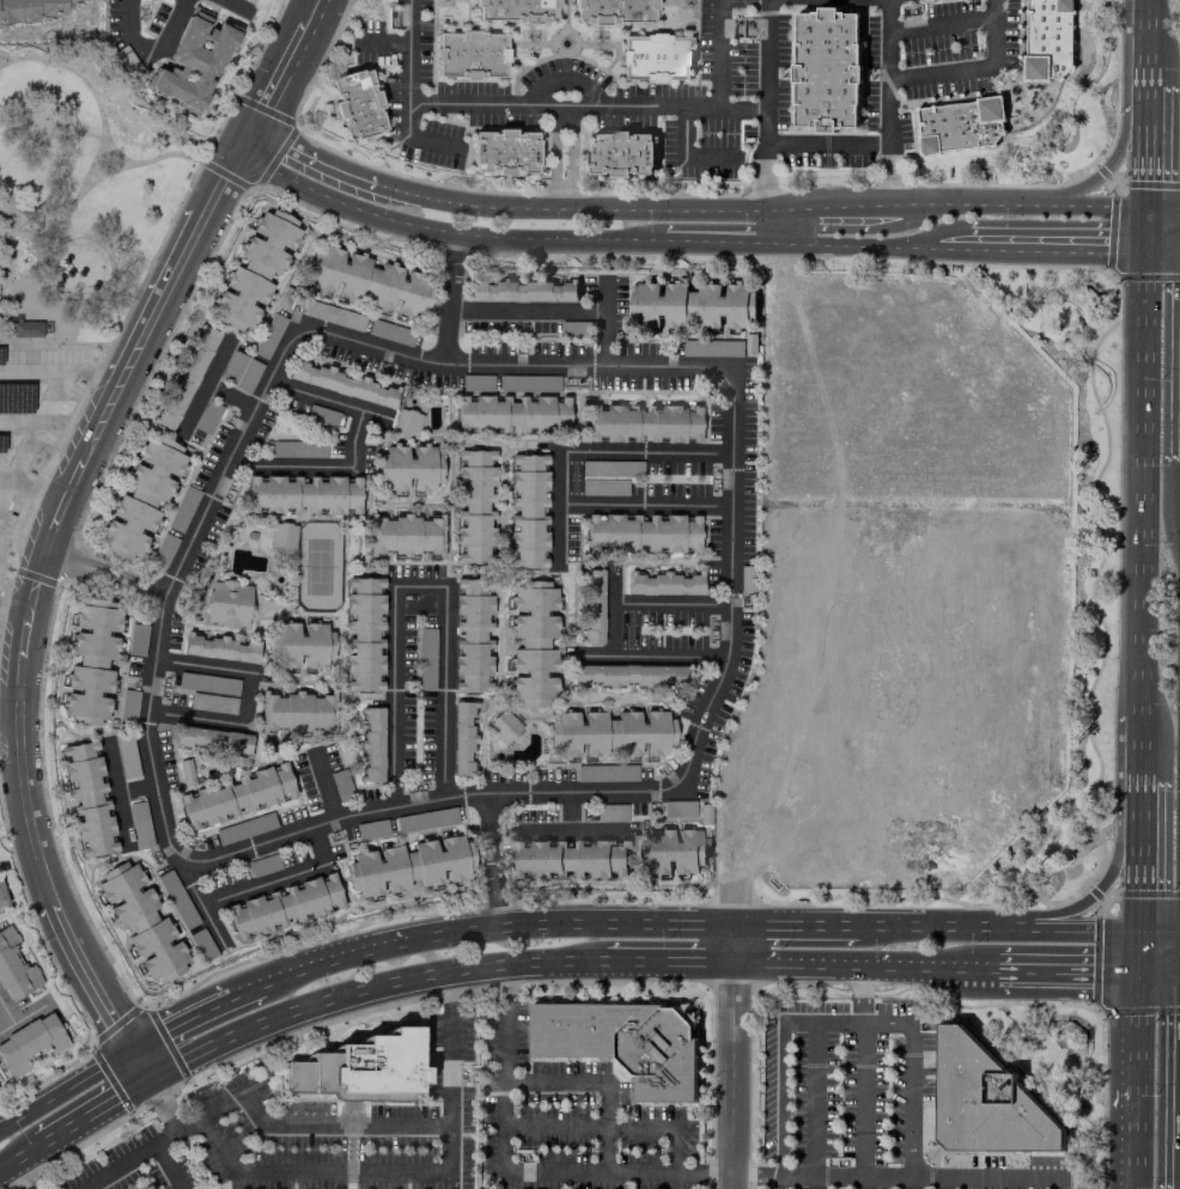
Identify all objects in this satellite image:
building: (250, 1)
road: (238, 7)
building: (31, 8)
building: (515, 10)
building: (613, 12)
road: (1149, 12)
road: (941, 25)
building: (1050, 38)
fountain: (564, 43)
road: (718, 53)
building: (470, 55)
road: (1148, 56)
building: (655, 59)
road: (13, 60)
building: (191, 61)
road: (157, 66)
building: (826, 71)
road: (973, 72)
fountain: (1014, 90)
road: (1146, 100)
building: (358, 104)
road: (433, 104)
road: (610, 105)
road: (888, 105)
road: (764, 110)
building: (960, 126)
road: (75, 133)
road: (826, 145)
road: (112, 151)
building: (504, 152)
building: (620, 152)
road: (1146, 161)
road: (91, 163)
road: (311, 164)
road: (1101, 177)
traffic signals: (1148, 179)
park: (80, 193)
road: (223, 193)
road: (1024, 209)
road: (577, 211)
road: (68, 212)
road: (1163, 212)
road: (843, 213)
building: (28, 218)
road: (785, 231)
road: (444, 234)
road: (1146, 234)
road: (723, 249)
road: (877, 251)
road: (1057, 255)
traffic signals: (1108, 256)
road: (1162, 257)
building: (254, 270)
road: (450, 272)
building: (366, 281)
road: (107, 283)
building: (522, 291)
building: (659, 304)
building: (722, 307)
road: (553, 311)
building: (333, 315)
building: (31, 330)
building: (387, 331)
building: (268, 335)
road: (80, 344)
building: (713, 348)
road: (62, 368)
road: (651, 368)
building: (239, 371)
building: (184, 377)
building: (341, 384)
building: (510, 414)
building: (321, 415)
building: (207, 416)
building: (406, 423)
building: (641, 423)
road: (93, 444)
road: (238, 449)
building: (294, 449)
road: (352, 450)
road: (586, 450)
building: (407, 468)
building: (610, 468)
road: (32, 486)
road: (1141, 487)
building: (303, 494)
building: (141, 498)
road: (643, 505)
building: (474, 506)
building: (182, 508)
building: (527, 510)
building: (643, 532)
building: (403, 535)
building: (281, 536)
building: (163, 549)
park: (318, 567)
building: (746, 578)
road: (104, 579)
building: (663, 583)
road: (412, 584)
building: (226, 603)
building: (590, 605)
road: (14, 610)
road: (31, 611)
road: (610, 627)
building: (364, 634)
building: (470, 635)
building: (533, 644)
building: (298, 645)
building: (219, 648)
building: (426, 658)
building: (91, 661)
building: (626, 675)
building: (207, 683)
road: (245, 696)
building: (212, 703)
building: (128, 705)
building: (296, 711)
road: (10, 719)
building: (503, 726)
building: (609, 733)
building: (461, 738)
building: (212, 740)
building: (371, 744)
road: (1135, 748)
building: (127, 758)
road: (687, 766)
building: (606, 772)
building: (340, 782)
road: (324, 786)
road: (134, 787)
road: (116, 793)
building: (236, 795)
building: (87, 798)
building: (677, 809)
road: (1133, 811)
building: (610, 812)
building: (425, 819)
building: (139, 824)
building: (243, 829)
building: (371, 829)
road: (256, 845)
building: (675, 850)
road: (493, 859)
building: (570, 859)
building: (262, 865)
building: (409, 865)
traffic signals: (1133, 884)
road: (260, 885)
road: (1133, 886)
road: (53, 892)
building: (175, 896)
building: (1, 897)
building: (282, 906)
road: (1046, 914)
building: (141, 921)
road: (592, 922)
road: (674, 923)
road: (722, 925)
road: (797, 926)
road: (893, 926)
road: (1030, 928)
road: (1156, 931)
road: (397, 939)
building: (201, 944)
road: (1132, 955)
road: (671, 961)
road: (863, 965)
building: (14, 968)
road: (1059, 977)
traffic signals: (1096, 978)
road: (1156, 978)
road: (377, 990)
road: (859, 994)
road: (8, 1008)
road: (194, 1014)
road: (26, 1018)
road: (886, 1023)
road: (1132, 1032)
building: (30, 1043)
building: (622, 1047)
road: (737, 1056)
road: (139, 1061)
road: (781, 1062)
building: (364, 1069)
road: (597, 1083)
road: (65, 1086)
road: (814, 1102)
building: (985, 1105)
road: (96, 1110)
road: (311, 1121)
road: (610, 1127)
road: (165, 1133)
road: (1131, 1138)
road: (14, 1158)
road: (116, 1165)
road: (168, 1165)
road: (28, 1172)
road: (359, 1172)
road: (516, 1172)
road: (898, 1178)
road: (925, 1179)
road: (1003, 1182)
road: (781, 1183)
road: (942, 1184)
building: (145, 1188)
building: (147, 1188)

